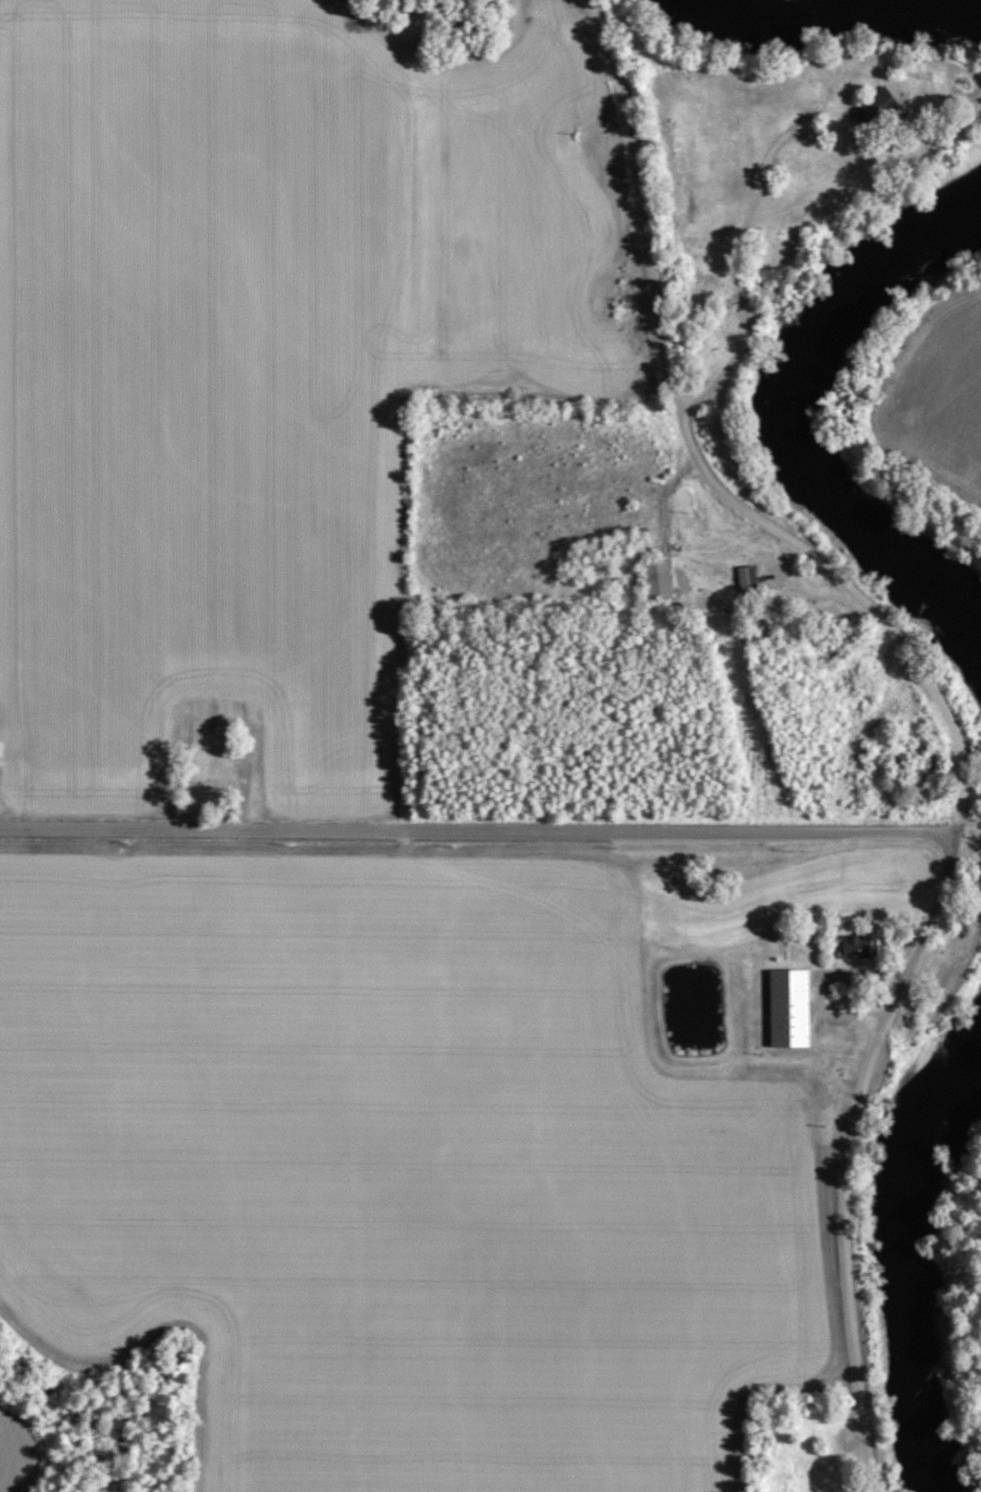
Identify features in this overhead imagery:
river: (980, 0)
river: (806, 17)
building: (876, 108)
building: (868, 152)
road: (741, 244)
river: (774, 424)
road: (666, 518)
building: (657, 579)
building: (746, 579)
road: (942, 697)
road: (248, 764)
building: (929, 767)
building: (204, 769)
road: (478, 831)
building: (854, 946)
river: (895, 1242)

